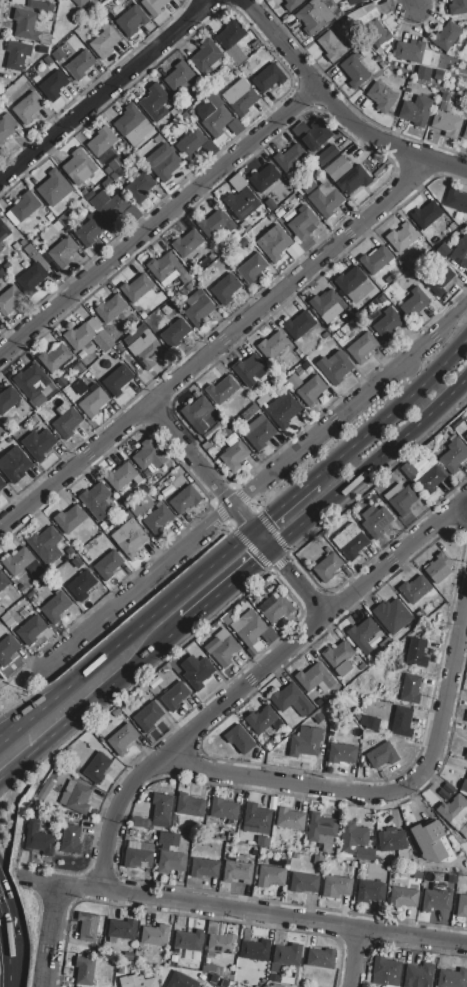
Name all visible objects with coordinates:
building: (360, 1)
building: (80, 2)
road: (409, 3)
building: (290, 4)
building: (41, 5)
building: (153, 6)
building: (457, 7)
building: (318, 15)
building: (131, 20)
building: (28, 27)
building: (376, 32)
building: (230, 33)
building: (446, 36)
building: (104, 42)
building: (331, 46)
building: (42, 50)
building: (413, 52)
building: (58, 54)
building: (17, 55)
building: (234, 55)
building: (205, 56)
building: (448, 64)
building: (80, 65)
building: (354, 71)
building: (424, 74)
building: (178, 76)
building: (268, 78)
building: (53, 86)
road: (103, 89)
building: (240, 97)
building: (381, 97)
building: (155, 102)
building: (27, 108)
road: (336, 111)
building: (416, 111)
building: (218, 118)
building: (6, 124)
building: (447, 124)
building: (133, 127)
building: (465, 131)
building: (312, 134)
building: (101, 142)
building: (190, 145)
building: (326, 155)
building: (289, 158)
building: (161, 162)
building: (113, 165)
building: (78, 167)
building: (337, 168)
building: (120, 170)
building: (263, 178)
building: (353, 180)
building: (107, 183)
building: (140, 185)
building: (54, 188)
building: (323, 198)
building: (456, 200)
building: (241, 204)
building: (270, 205)
building: (22, 208)
building: (112, 209)
building: (279, 213)
building: (426, 214)
building: (270, 218)
road: (156, 220)
building: (302, 222)
building: (214, 224)
building: (56, 226)
building: (90, 230)
building: (3, 231)
building: (46, 236)
building: (401, 238)
building: (242, 242)
building: (273, 242)
building: (186, 243)
building: (1, 247)
building: (293, 251)
building: (63, 252)
building: (461, 253)
building: (36, 256)
building: (375, 260)
building: (51, 263)
building: (162, 266)
building: (252, 268)
building: (1, 272)
building: (33, 277)
building: (348, 280)
building: (439, 281)
building: (136, 288)
building: (225, 288)
building: (9, 300)
building: (326, 302)
building: (414, 303)
building: (111, 308)
building: (198, 308)
building: (298, 324)
building: (387, 326)
building: (175, 332)
building: (87, 336)
road: (214, 344)
building: (272, 345)
building: (361, 348)
building: (145, 351)
building: (55, 357)
building: (334, 367)
building: (250, 370)
building: (117, 380)
building: (33, 382)
building: (222, 390)
building: (311, 391)
building: (185, 398)
building: (8, 400)
road: (357, 400)
building: (93, 403)
road: (394, 408)
building: (282, 410)
building: (200, 414)
building: (66, 421)
building: (258, 433)
building: (466, 438)
building: (38, 444)
building: (232, 453)
road: (188, 454)
building: (148, 455)
building: (453, 456)
road: (368, 463)
building: (14, 465)
building: (408, 470)
building: (120, 477)
building: (430, 480)
building: (2, 484)
building: (184, 499)
road: (237, 499)
building: (401, 500)
building: (97, 501)
road: (284, 502)
building: (136, 509)
building: (126, 515)
traffic signals: (266, 518)
building: (69, 519)
building: (158, 520)
traffic signals: (245, 521)
building: (376, 522)
building: (128, 538)
building: (349, 542)
building: (44, 545)
road: (277, 559)
traffic signals: (255, 561)
building: (17, 562)
building: (108, 565)
traffic signals: (282, 566)
building: (328, 567)
building: (439, 568)
building: (3, 580)
building: (81, 585)
road: (137, 587)
building: (21, 589)
building: (414, 589)
road: (219, 591)
road: (162, 605)
building: (54, 607)
building: (277, 609)
building: (392, 616)
building: (226, 619)
building: (248, 627)
building: (30, 630)
building: (362, 634)
building: (386, 644)
building: (7, 650)
building: (222, 650)
building: (417, 653)
building: (339, 657)
building: (197, 671)
road: (20, 673)
road: (252, 674)
building: (315, 678)
road: (2, 687)
building: (410, 690)
building: (174, 696)
building: (290, 700)
building: (319, 701)
road: (46, 704)
road: (37, 705)
road: (84, 706)
building: (147, 717)
building: (317, 719)
building: (466, 719)
building: (263, 720)
building: (370, 722)
building: (402, 722)
road: (9, 734)
building: (239, 738)
building: (122, 739)
building: (306, 742)
building: (342, 753)
building: (466, 754)
building: (382, 756)
building: (97, 768)
building: (464, 785)
building: (70, 786)
building: (449, 789)
road: (390, 790)
building: (444, 794)
building: (64, 798)
building: (79, 798)
building: (189, 805)
building: (161, 809)
building: (224, 809)
building: (454, 812)
building: (257, 815)
building: (290, 819)
building: (146, 823)
building: (322, 831)
building: (38, 838)
building: (165, 838)
building: (352, 838)
building: (70, 839)
building: (392, 840)
building: (262, 841)
building: (432, 843)
building: (138, 855)
building: (318, 860)
building: (170, 861)
building: (204, 869)
building: (237, 873)
building: (415, 875)
building: (270, 876)
building: (302, 883)
building: (336, 887)
building: (370, 892)
building: (404, 895)
building: (438, 900)
building: (461, 904)
road: (240, 912)
road: (6, 919)
building: (87, 926)
building: (121, 930)
road: (49, 936)
building: (154, 936)
building: (188, 941)
building: (220, 943)
building: (254, 948)
building: (288, 954)
building: (128, 956)
road: (353, 958)
building: (174, 959)
building: (321, 959)
road: (11, 964)
building: (182, 965)
building: (275, 968)
building: (213, 969)
building: (120, 970)
building: (85, 971)
building: (386, 972)
building: (418, 975)
building: (274, 978)
building: (452, 978)
building: (137, 981)
building: (181, 981)
building: (276, 985)

